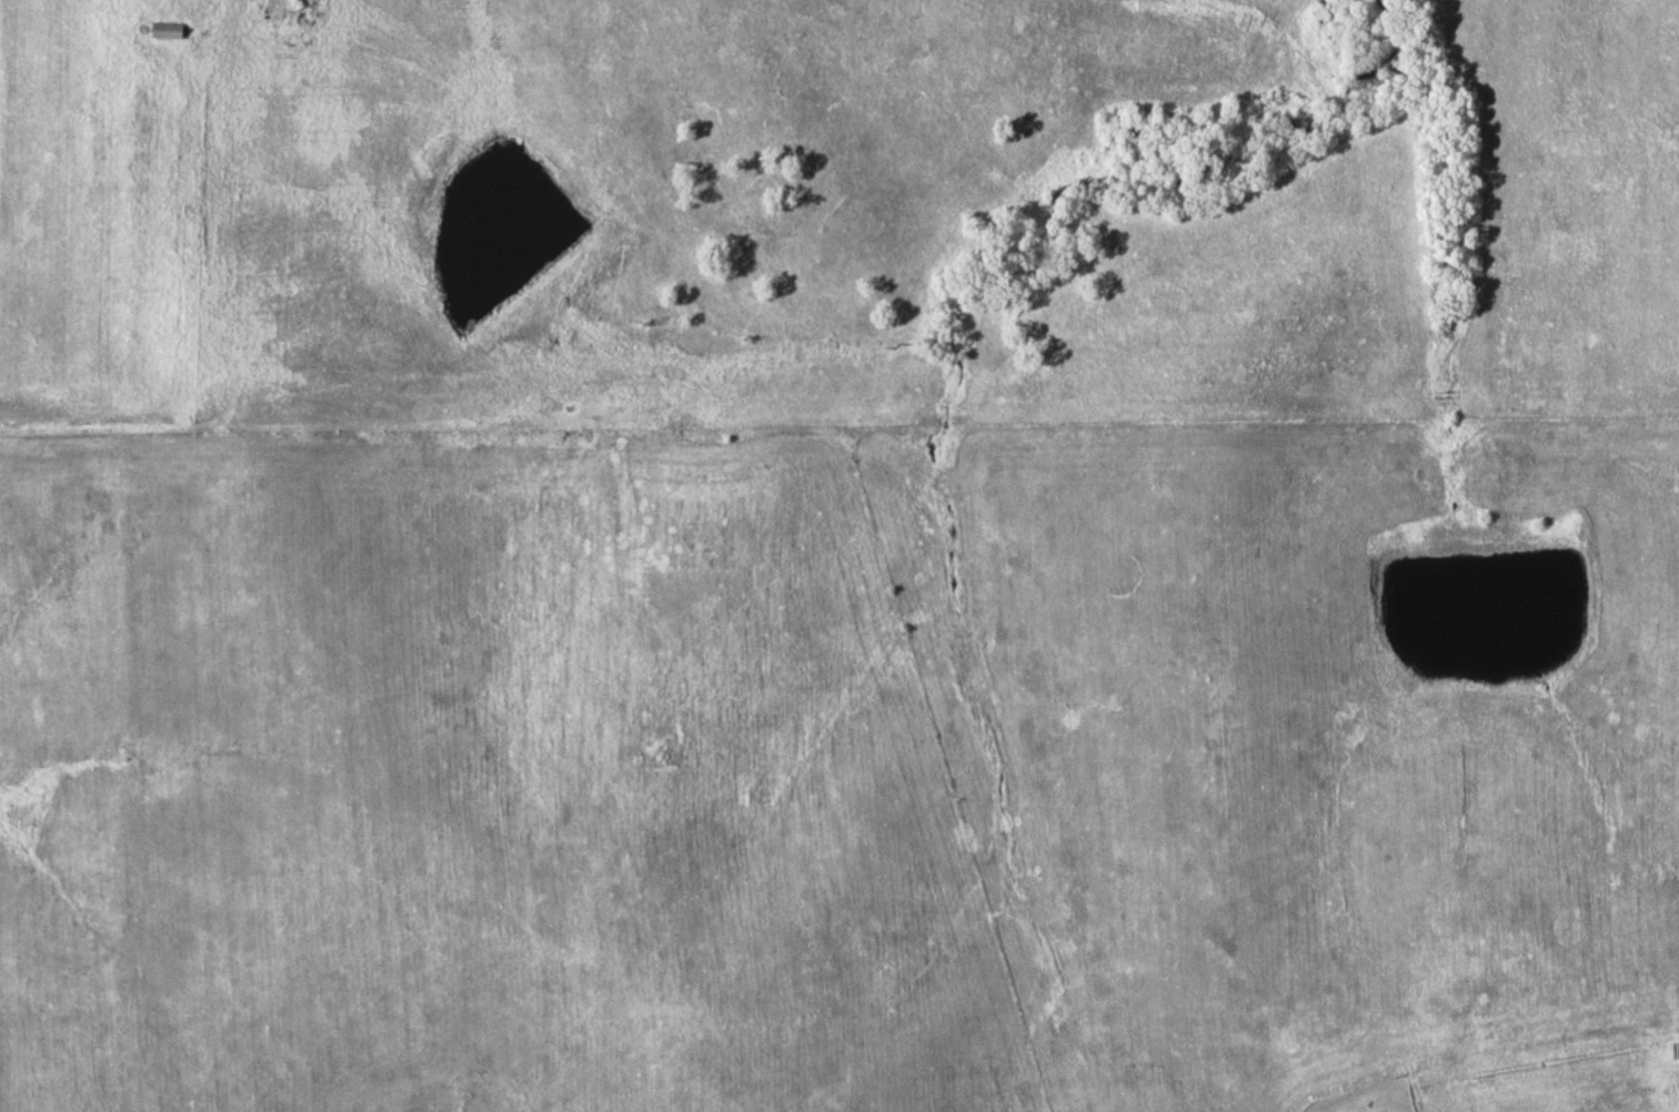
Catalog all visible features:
building: (165, 30)

